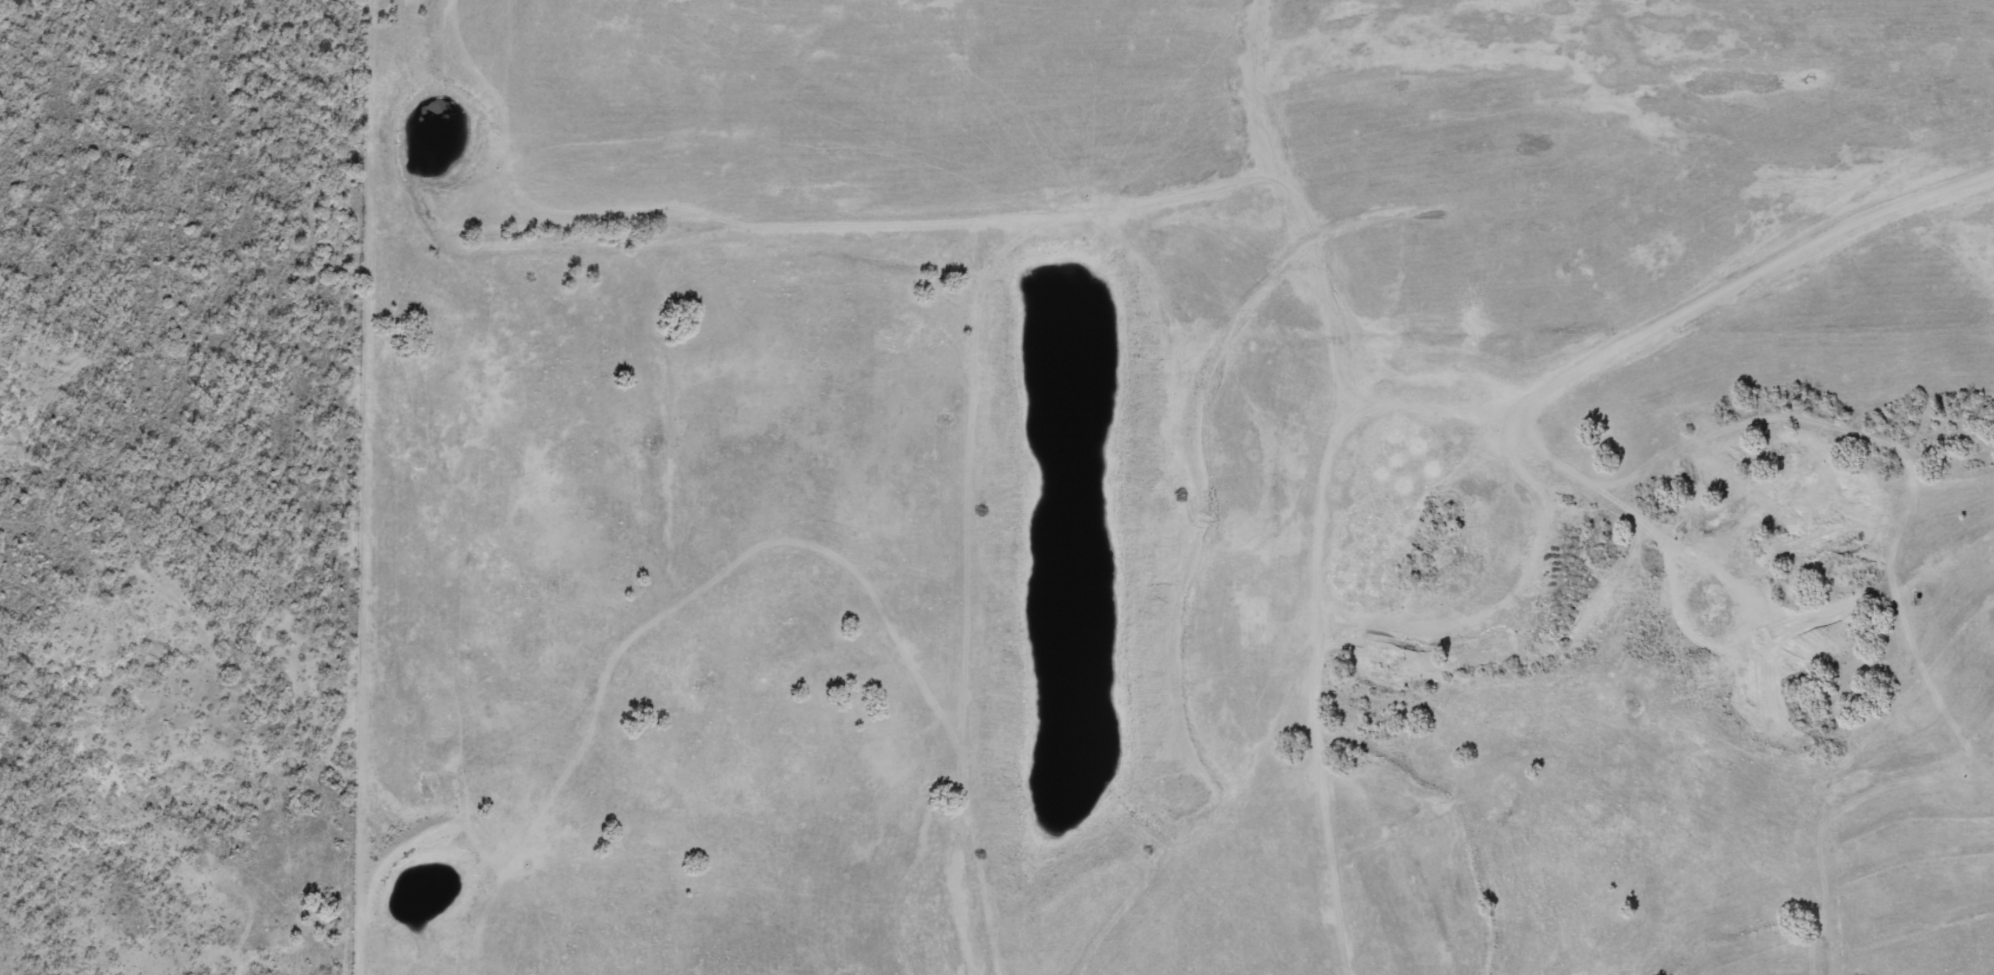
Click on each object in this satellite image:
road: (1720, 317)

